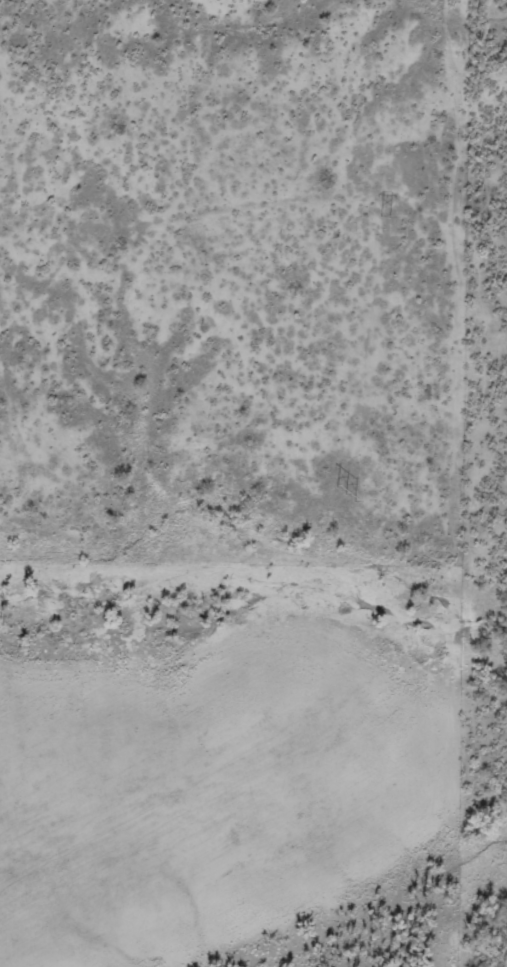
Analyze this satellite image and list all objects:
power tower: (386, 216)
power tower: (345, 494)
power tower: (1, 620)

